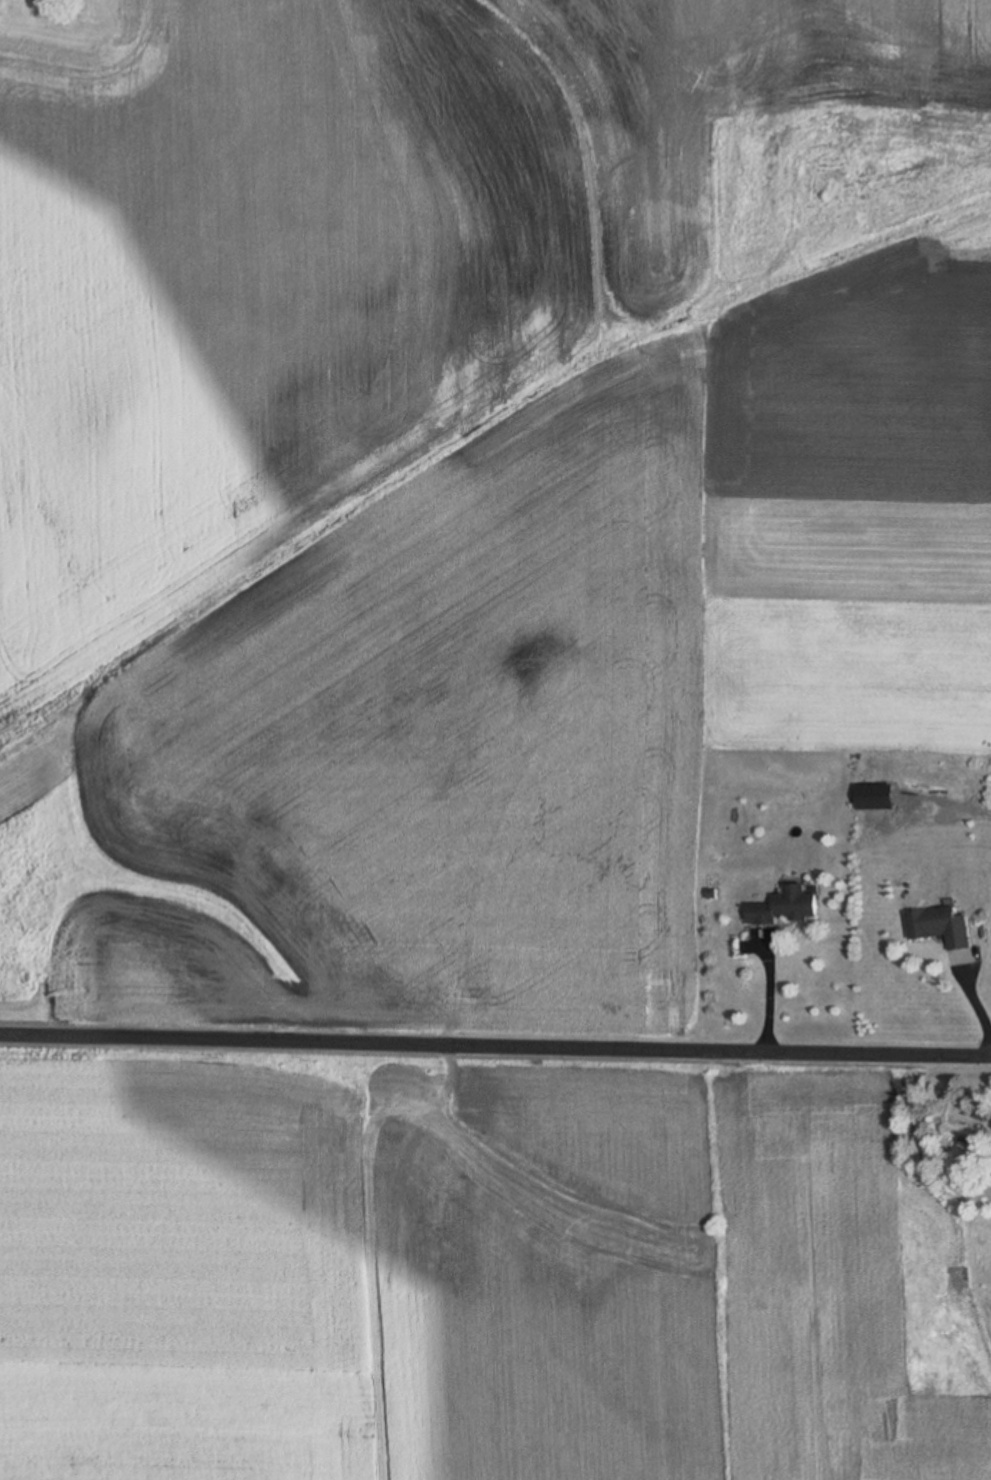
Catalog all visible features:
building: (788, 906)
building: (940, 921)
road: (772, 994)
road: (495, 1042)
building: (971, 1120)

